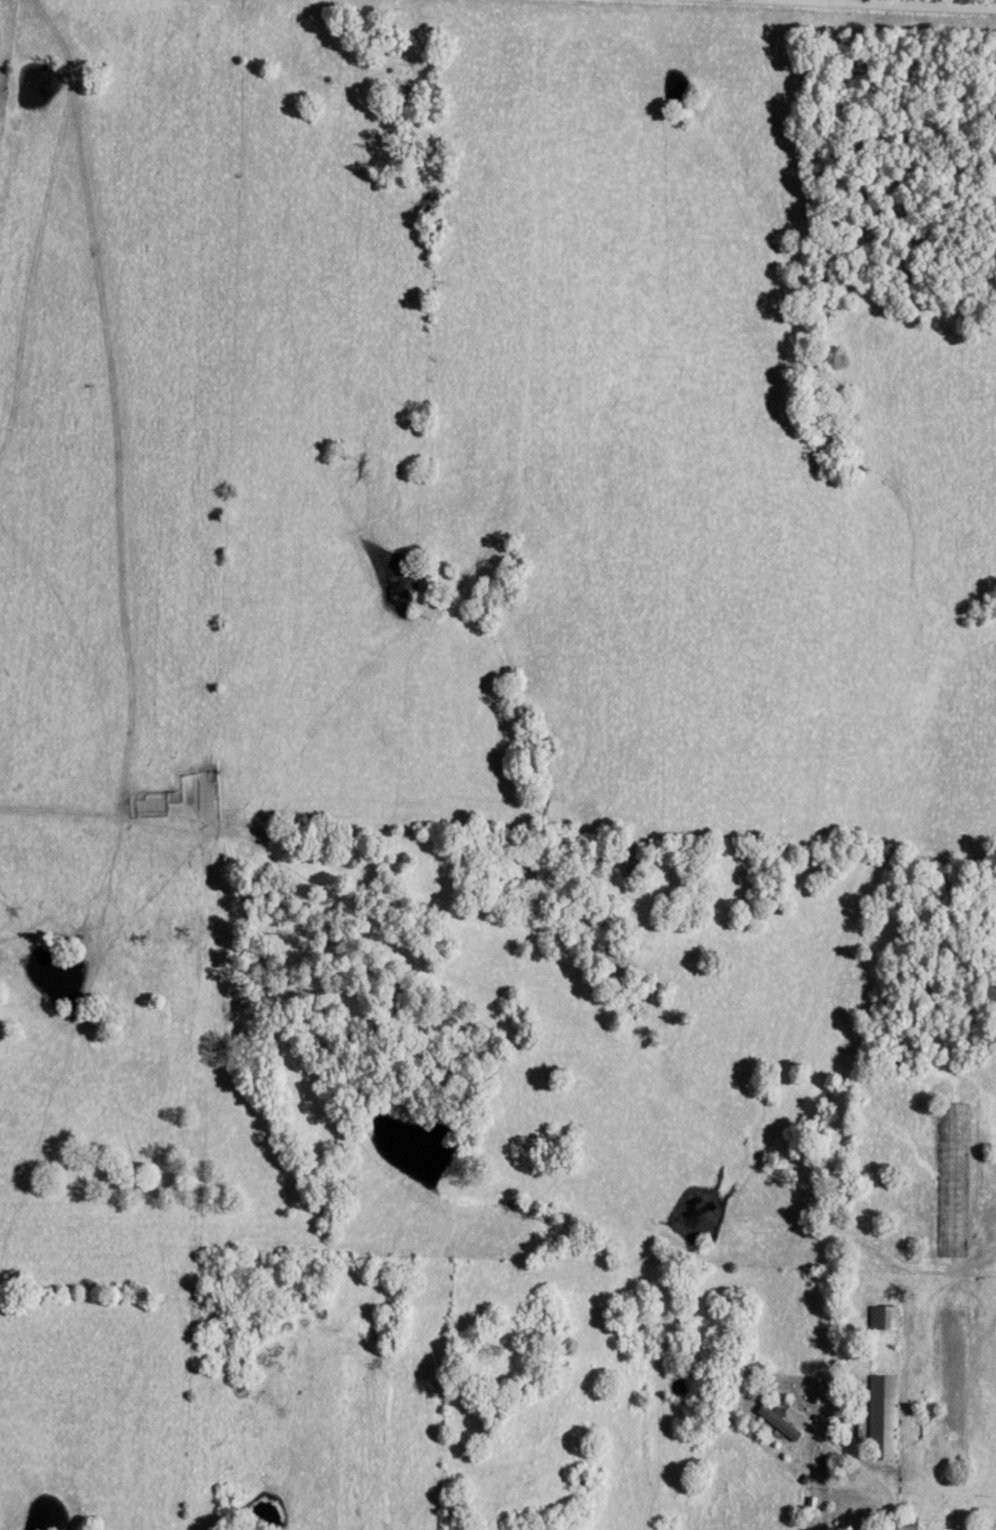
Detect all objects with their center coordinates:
road: (843, 2)
building: (952, 1184)
building: (882, 1320)
building: (881, 1420)
building: (776, 1425)
road: (804, 1447)
road: (889, 1501)
building: (902, 1529)

